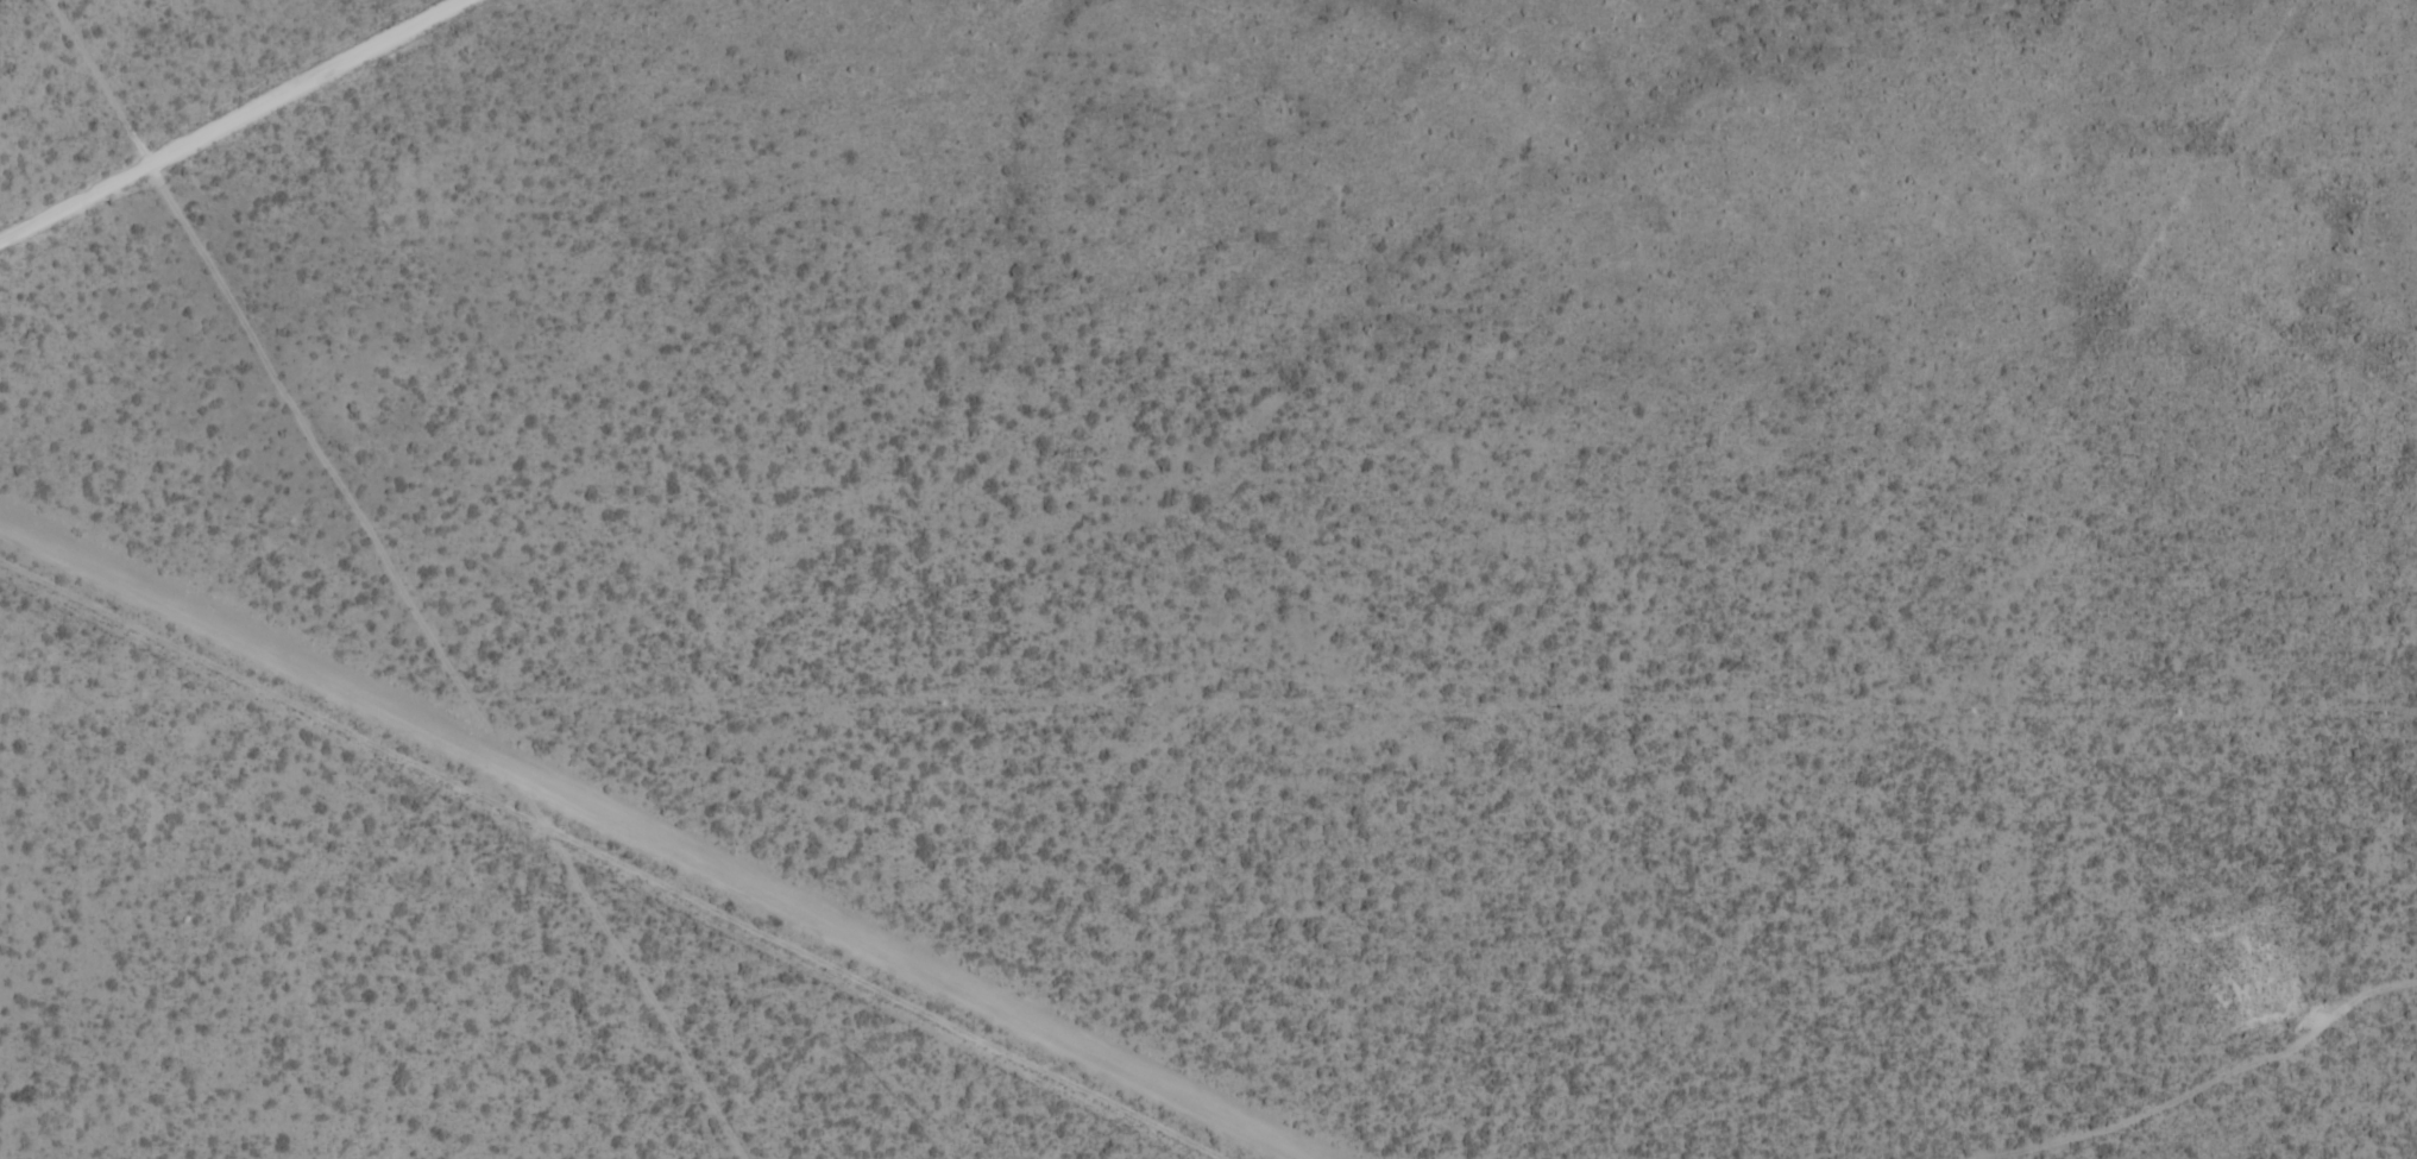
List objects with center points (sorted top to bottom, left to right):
road: (232, 116)

